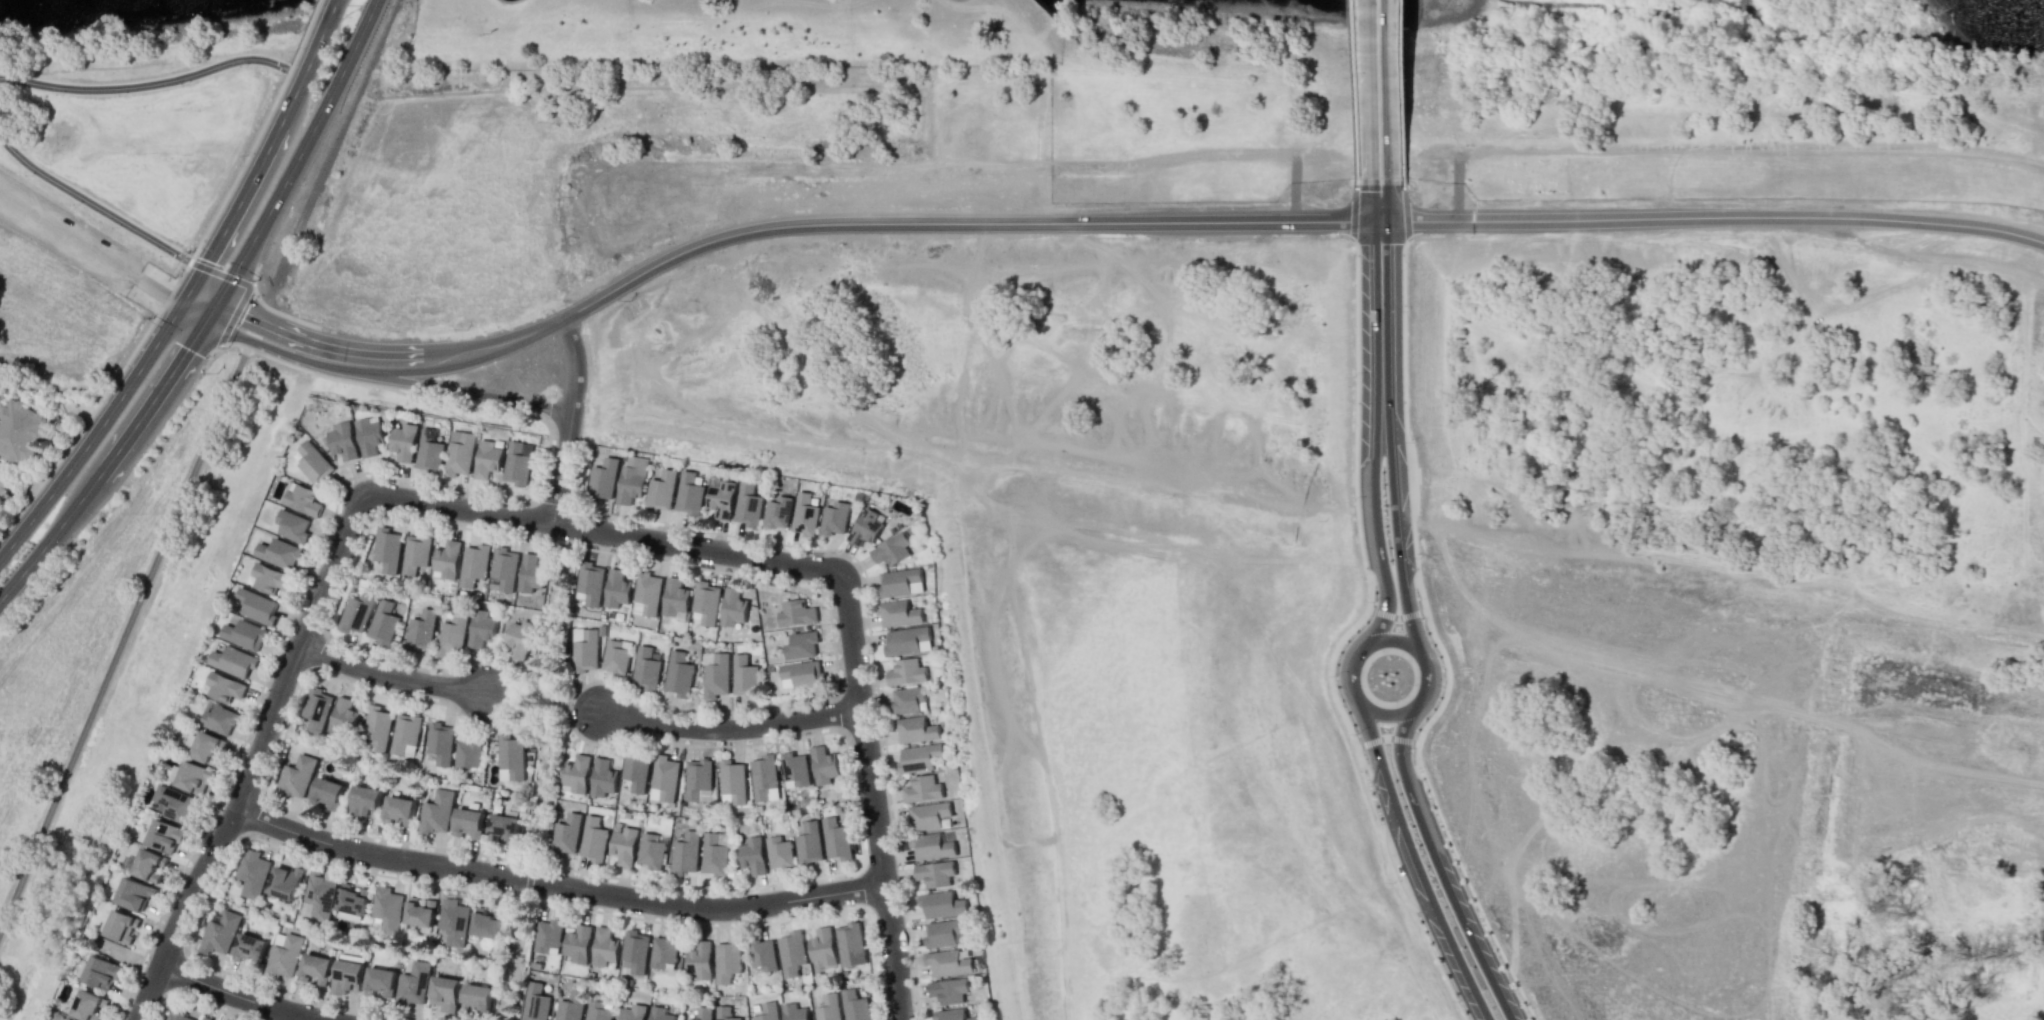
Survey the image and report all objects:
road: (1370, 34)
street lamp: (298, 54)
road: (308, 60)
railway: (363, 72)
road: (1386, 95)
road: (1369, 129)
street lamp: (245, 154)
road: (298, 156)
street lamp: (303, 184)
road: (1457, 188)
road: (1388, 205)
road: (234, 208)
road: (1709, 217)
road: (984, 223)
parking lot: (67, 235)
road: (1868, 242)
road: (91, 251)
road: (1984, 259)
road: (1787, 274)
traffic signals: (187, 297)
road: (1867, 298)
road: (199, 302)
traffic signals: (212, 308)
power tower: (466, 329)
road: (529, 333)
road: (324, 344)
road: (397, 371)
power tower: (200, 372)
road: (383, 377)
power tower: (215, 380)
road: (155, 392)
power tower: (90, 393)
road: (1376, 414)
road: (569, 420)
building: (21, 429)
road: (97, 430)
road: (1387, 432)
building: (369, 434)
building: (343, 439)
building: (404, 440)
building: (430, 450)
building: (460, 451)
building: (488, 458)
building: (519, 461)
building: (315, 462)
building: (602, 478)
building: (4, 483)
building: (628, 484)
building: (660, 489)
building: (688, 492)
building: (719, 497)
building: (303, 499)
building: (746, 503)
road: (455, 506)
building: (775, 510)
building: (804, 514)
building: (833, 517)
building: (293, 524)
street lamp: (669, 526)
building: (865, 526)
road: (49, 537)
building: (387, 547)
building: (891, 548)
road: (699, 551)
building: (279, 552)
building: (415, 552)
street lamp: (1420, 555)
building: (447, 557)
building: (474, 563)
building: (504, 566)
building: (531, 572)
building: (270, 577)
building: (898, 580)
building: (590, 581)
building: (617, 587)
building: (648, 591)
building: (675, 596)
street lamp: (1374, 600)
building: (706, 601)
building: (257, 605)
building: (733, 606)
building: (357, 610)
building: (796, 612)
building: (898, 612)
street lamp: (1423, 620)
building: (382, 622)
street lamp: (832, 622)
building: (481, 627)
building: (421, 629)
building: (244, 633)
road: (124, 634)
street lamp: (284, 634)
building: (452, 634)
road: (124, 636)
building: (520, 637)
building: (906, 639)
road: (125, 644)
building: (801, 644)
building: (585, 651)
building: (615, 656)
building: (233, 660)
building: (646, 668)
crop: (89, 670)
building: (906, 671)
building: (803, 672)
building: (678, 673)
building: (716, 675)
building: (744, 675)
street lamp: (1335, 675)
road: (388, 676)
street lamp: (598, 678)
street lamp: (1443, 684)
building: (224, 686)
street lamp: (874, 688)
building: (908, 699)
park: (547, 704)
road: (527, 706)
road: (554, 706)
building: (317, 708)
road: (1385, 711)
street lamp: (694, 712)
street lamp: (456, 713)
building: (343, 716)
building: (220, 718)
building: (377, 726)
road: (729, 729)
building: (916, 729)
building: (406, 731)
street lamp: (282, 732)
street lamp: (1356, 733)
street lamp: (776, 738)
building: (441, 741)
building: (207, 747)
street lamp: (1412, 751)
building: (468, 754)
building: (512, 755)
building: (919, 758)
road: (254, 762)
building: (824, 764)
building: (635, 768)
building: (795, 768)
building: (576, 772)
building: (298, 775)
building: (194, 776)
building: (665, 776)
building: (763, 776)
building: (602, 777)
building: (697, 777)
street lamp: (538, 778)
building: (732, 781)
building: (922, 788)
building: (327, 792)
street lamp: (855, 796)
street lamp: (1431, 800)
building: (365, 802)
road: (872, 802)
building: (175, 804)
street lamp: (218, 805)
building: (400, 809)
building: (437, 811)
building: (927, 815)
building: (470, 822)
building: (505, 827)
building: (565, 833)
building: (165, 835)
building: (593, 839)
building: (837, 839)
building: (809, 843)
street lamp: (412, 844)
building: (624, 845)
building: (931, 845)
building: (651, 850)
street lamp: (541, 851)
building: (779, 852)
building: (684, 853)
building: (713, 855)
building: (752, 855)
street lamp: (313, 856)
road: (1437, 863)
building: (148, 864)
road: (1418, 865)
building: (253, 873)
building: (935, 873)
road: (527, 881)
building: (285, 882)
street lamp: (1394, 882)
road: (555, 885)
building: (133, 894)
street lamp: (901, 894)
building: (319, 895)
street lamp: (513, 898)
building: (353, 900)
building: (942, 903)
building: (387, 909)
building: (421, 913)
street lamp: (1481, 919)
building: (454, 921)
building: (488, 923)
street lamp: (684, 924)
building: (120, 926)
building: (220, 932)
building: (944, 932)
building: (547, 935)
building: (577, 943)
building: (851, 944)
building: (604, 946)
building: (823, 946)
building: (249, 948)
building: (635, 950)
building: (663, 952)
building: (791, 953)
building: (763, 954)
road: (514, 955)
park: (515, 955)
building: (283, 956)
building: (700, 960)
building: (728, 960)
building: (947, 962)
building: (315, 968)
building: (101, 972)
street lamp: (878, 973)
building: (347, 977)
building: (381, 981)
building: (414, 984)
building: (948, 990)
building: (446, 993)
road: (240, 996)
building: (478, 998)
street lamp: (1458, 1000)
building: (535, 1002)
street lamp: (325, 1003)
building: (855, 1005)
building: (88, 1006)
building: (570, 1006)
building: (828, 1008)
building: (597, 1011)
building: (768, 1011)
building: (632, 1012)
building: (794, 1012)
building: (659, 1013)
building: (704, 1013)
building: (725, 1013)
building: (178, 1014)
street lamp: (238, 1014)
building: (952, 1014)
building: (57, 1016)
road: (298, 1017)
building: (207, 1018)
building: (71, 1019)
building: (74, 1019)
building: (690, 1019)

